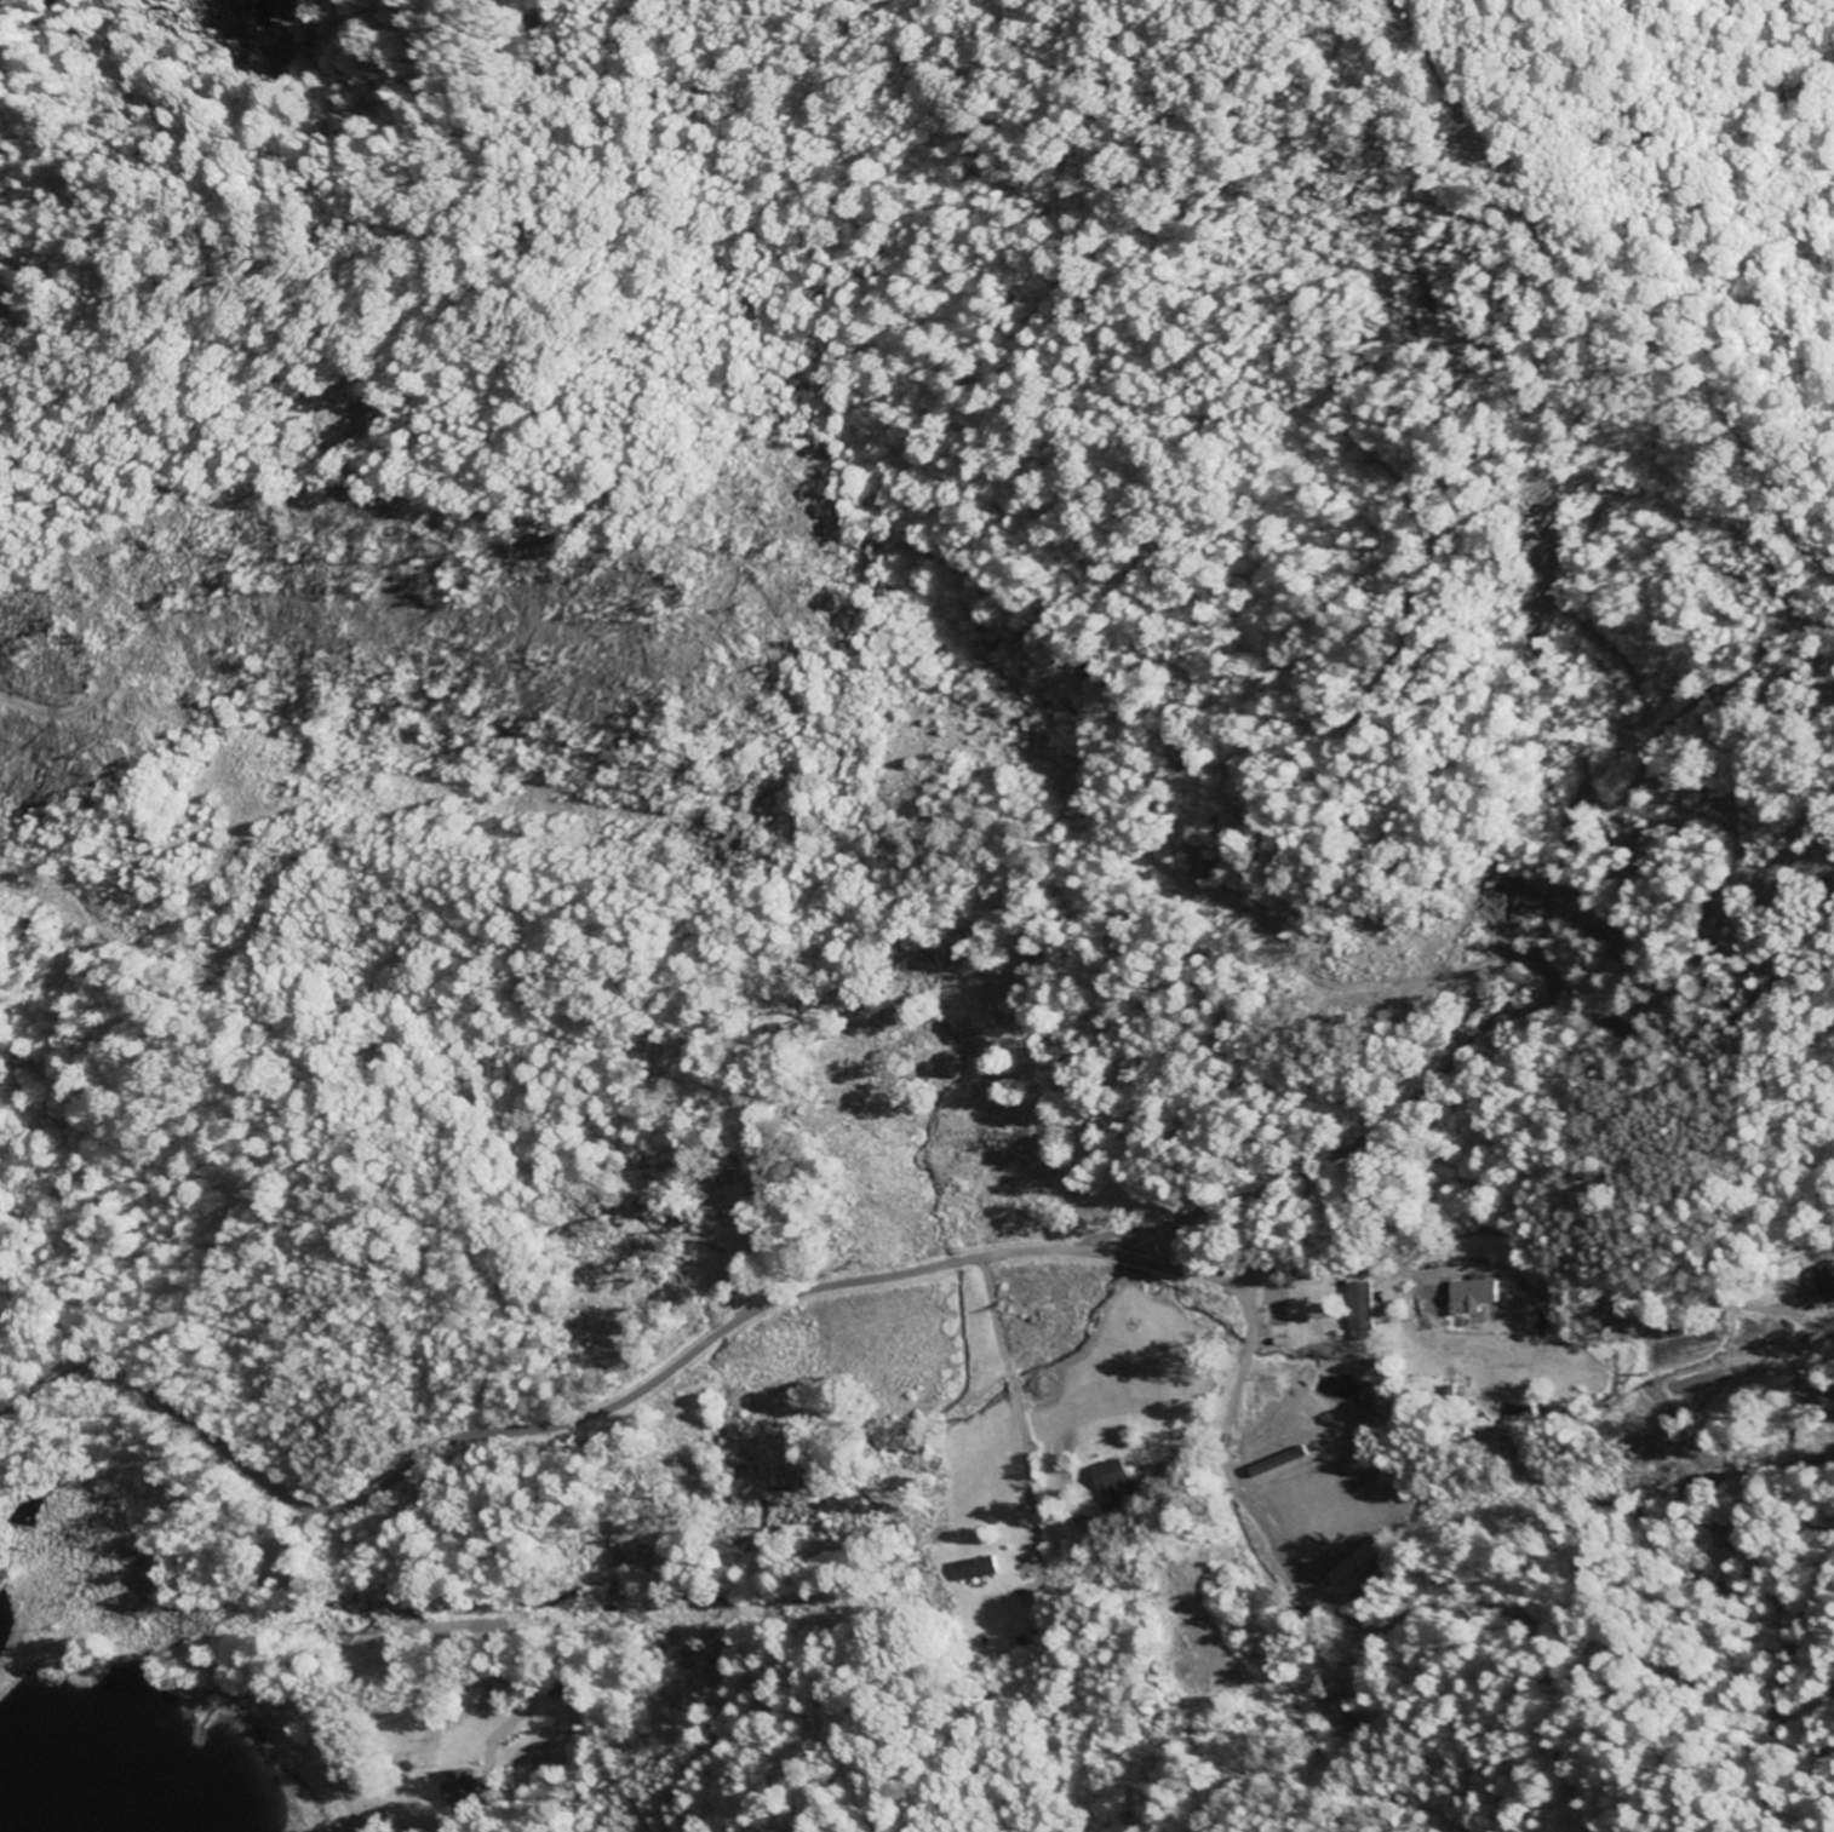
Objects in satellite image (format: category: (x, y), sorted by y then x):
road: (838, 1282)
building: (1821, 1282)
building: (1475, 1296)
building: (1366, 1306)
road: (1191, 1402)
building: (1112, 1475)
building: (981, 1568)

